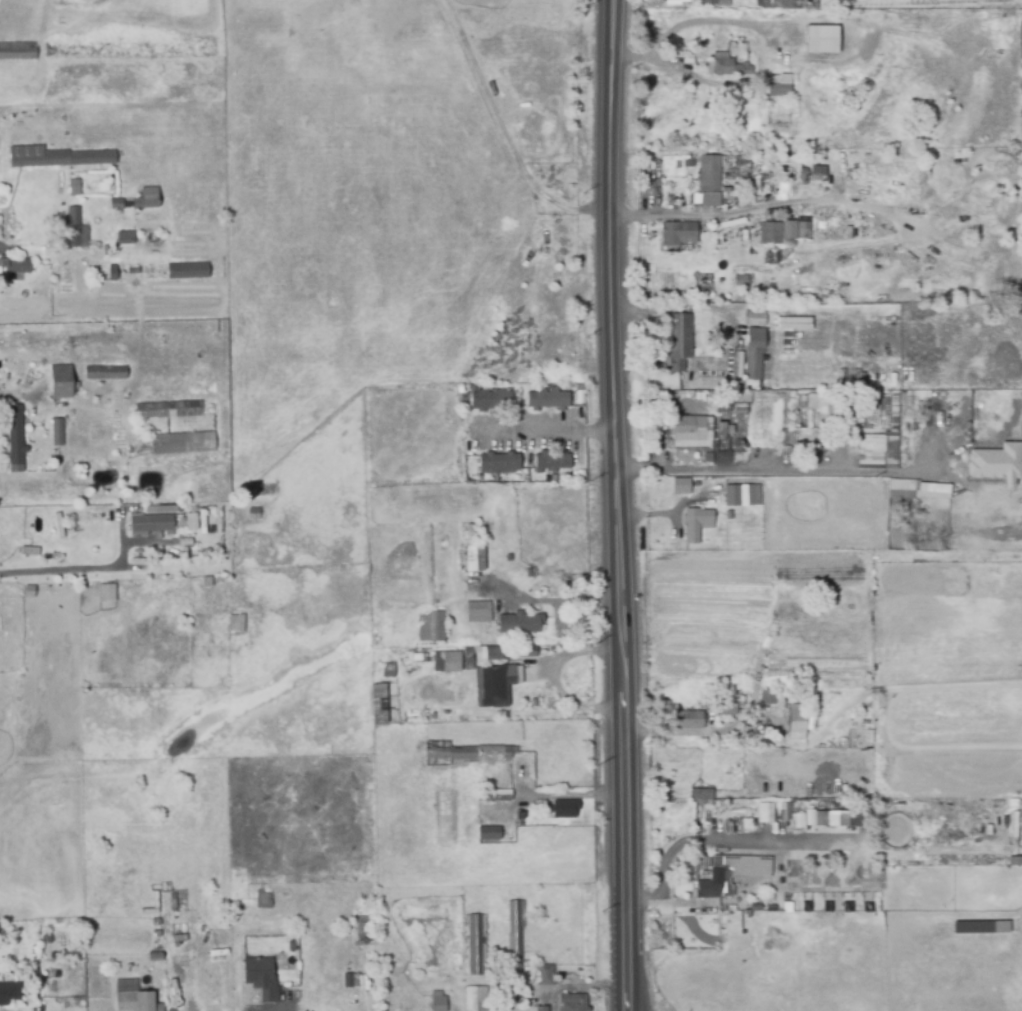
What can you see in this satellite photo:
building: (671, 0)
building: (718, 3)
building: (776, 4)
road: (696, 22)
building: (820, 40)
building: (86, 49)
building: (180, 49)
building: (16, 52)
road: (669, 65)
building: (725, 68)
building: (776, 87)
road: (500, 128)
building: (55, 158)
building: (686, 165)
building: (708, 175)
building: (72, 189)
building: (145, 199)
building: (115, 205)
road: (754, 207)
building: (74, 230)
building: (675, 234)
building: (768, 234)
building: (793, 234)
building: (808, 236)
building: (124, 238)
building: (14, 266)
building: (186, 273)
building: (110, 274)
building: (739, 282)
building: (770, 290)
building: (753, 319)
building: (791, 323)
building: (677, 342)
building: (714, 346)
building: (706, 352)
building: (752, 353)
building: (103, 373)
building: (59, 383)
road: (13, 394)
building: (85, 394)
building: (545, 400)
building: (489, 401)
building: (721, 404)
building: (168, 412)
road: (547, 430)
building: (684, 430)
building: (722, 430)
building: (55, 432)
building: (14, 440)
building: (180, 443)
building: (876, 450)
building: (497, 463)
building: (550, 463)
building: (995, 463)
road: (788, 471)
building: (679, 487)
building: (900, 488)
building: (931, 490)
building: (740, 496)
road: (611, 505)
building: (159, 509)
building: (252, 513)
building: (727, 516)
building: (201, 521)
building: (746, 521)
building: (161, 523)
building: (694, 524)
building: (29, 551)
building: (473, 560)
road: (71, 572)
building: (28, 591)
building: (105, 593)
road: (545, 602)
building: (477, 613)
building: (234, 622)
building: (517, 624)
building: (429, 627)
building: (526, 652)
building: (495, 655)
building: (451, 668)
building: (387, 671)
road: (552, 677)
building: (503, 685)
building: (768, 696)
building: (739, 700)
building: (377, 703)
building: (725, 709)
building: (687, 721)
building: (797, 722)
building: (462, 754)
building: (495, 796)
building: (704, 796)
building: (561, 809)
building: (782, 810)
building: (763, 812)
building: (517, 815)
building: (819, 817)
building: (444, 819)
building: (797, 819)
building: (133, 826)
building: (489, 834)
road: (709, 840)
building: (750, 868)
building: (716, 869)
building: (709, 890)
building: (262, 900)
building: (750, 900)
building: (786, 910)
building: (830, 910)
building: (850, 910)
building: (870, 910)
building: (809, 911)
building: (980, 927)
building: (361, 931)
building: (389, 934)
building: (514, 935)
building: (473, 945)
building: (153, 957)
building: (546, 976)
building: (260, 977)
building: (349, 982)
building: (8, 993)
building: (474, 999)
building: (134, 1000)
building: (437, 1002)
building: (573, 1004)
building: (539, 1009)

